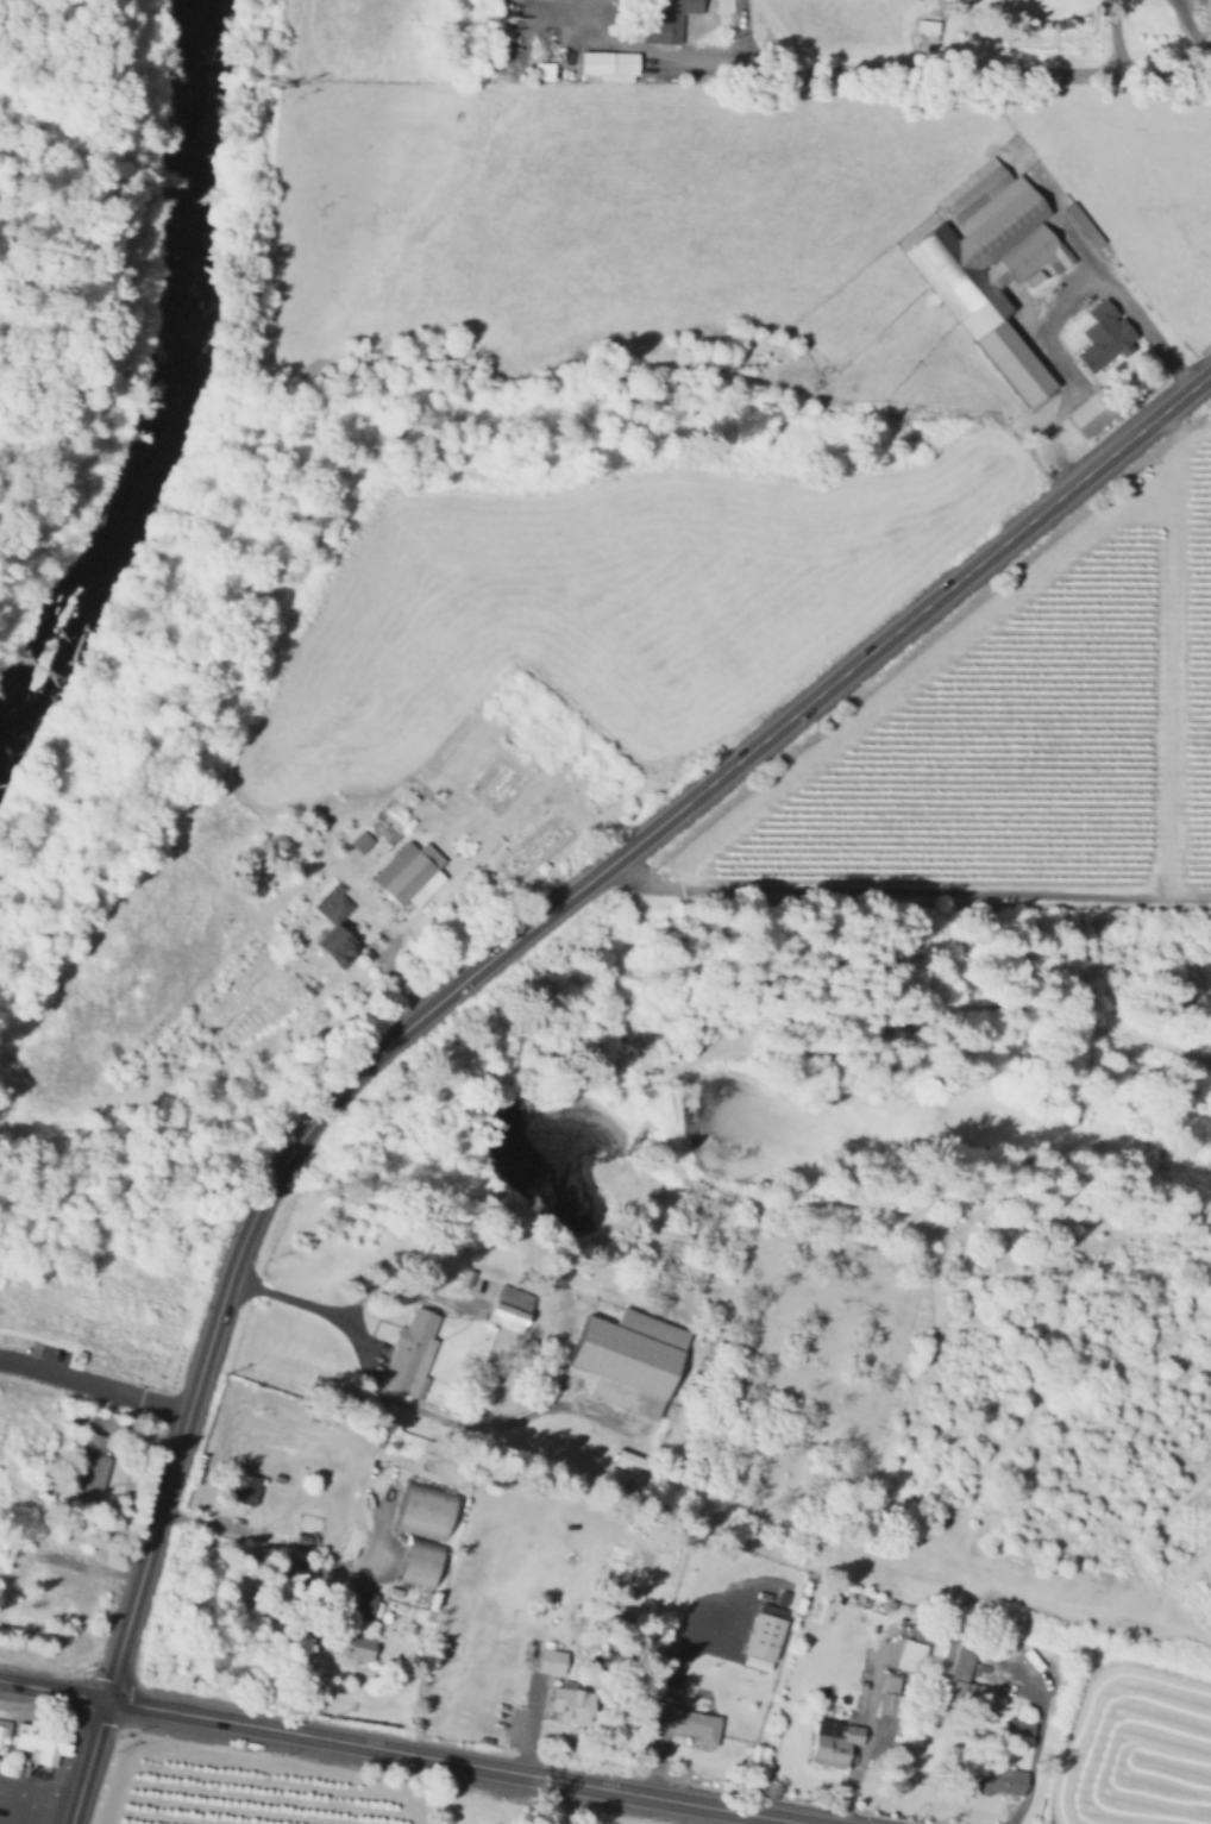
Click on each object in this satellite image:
building: (1207, 7)
building: (666, 20)
road: (1192, 24)
building: (928, 25)
road: (1112, 32)
building: (610, 62)
road: (933, 67)
building: (540, 69)
building: (1084, 225)
building: (992, 267)
road: (1100, 278)
building: (1104, 337)
river: (162, 375)
building: (1091, 413)
road: (1169, 426)
road: (1166, 647)
building: (382, 838)
building: (359, 840)
building: (413, 875)
road: (906, 891)
building: (334, 922)
road: (516, 936)
building: (469, 1278)
road: (314, 1305)
building: (510, 1312)
road: (34, 1336)
road: (61, 1343)
road: (33, 1350)
building: (412, 1353)
building: (76, 1355)
building: (630, 1359)
parking lot: (65, 1372)
road: (95, 1385)
road: (481, 1411)
road: (130, 1433)
building: (625, 1460)
park: (19, 1471)
building: (90, 1472)
building: (247, 1491)
building: (425, 1513)
building: (301, 1543)
road: (74, 1561)
road: (306, 1561)
building: (416, 1561)
road: (1029, 1591)
building: (364, 1607)
building: (765, 1637)
building: (360, 1646)
road: (314, 1650)
building: (908, 1654)
building: (943, 1661)
building: (551, 1662)
road: (54, 1691)
building: (674, 1691)
building: (891, 1694)
building: (571, 1709)
building: (690, 1723)
road: (873, 1726)
building: (1022, 1728)
road: (1040, 1729)
building: (1, 1731)
building: (6, 1738)
building: (63, 1743)
building: (36, 1744)
building: (836, 1745)
crop: (1135, 1748)
road: (88, 1762)
road: (446, 1762)
building: (994, 1778)
road: (10, 1788)
crop: (240, 1793)
road: (48, 1797)
road: (541, 1801)
road: (17, 1807)
road: (691, 1816)

